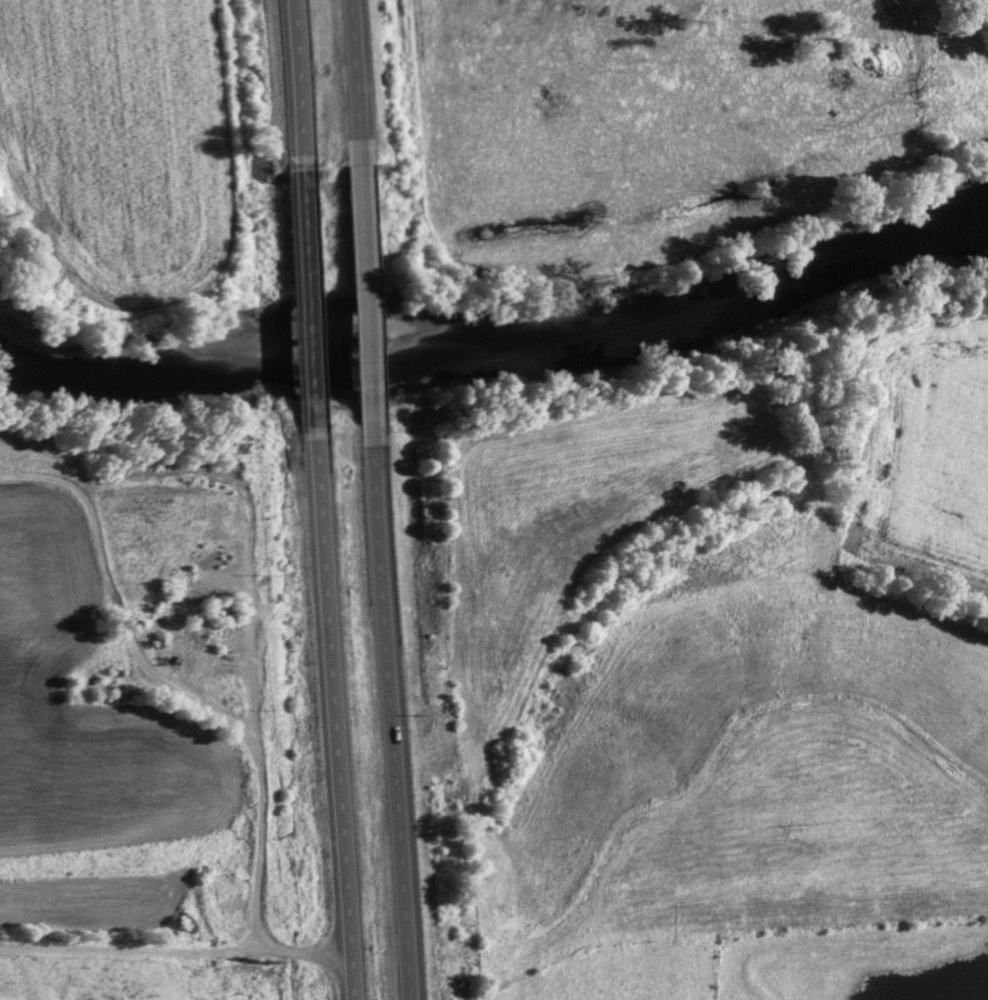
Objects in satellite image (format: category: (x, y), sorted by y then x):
road: (294, 80)
road: (353, 82)
road: (366, 291)
road: (308, 294)
river: (497, 331)
road: (391, 709)
road: (199, 711)
road: (333, 714)

